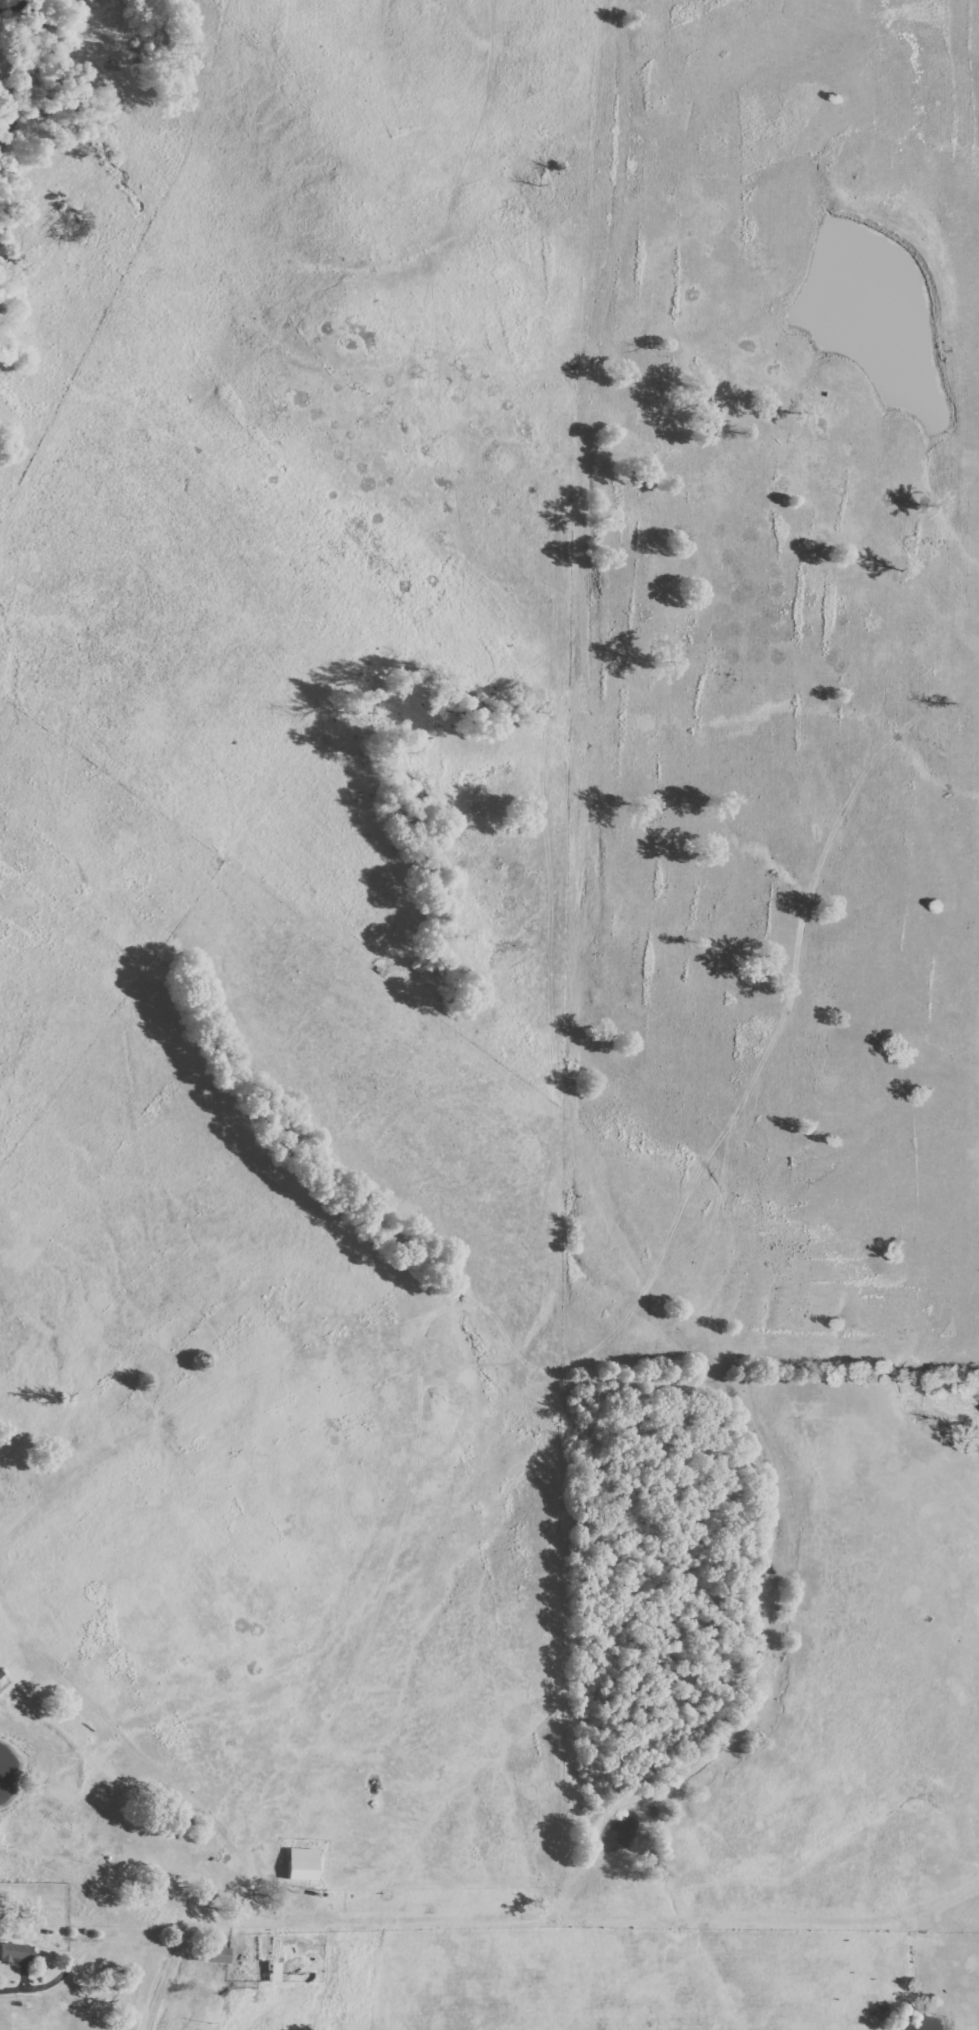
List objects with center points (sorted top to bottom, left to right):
building: (3, 1682)
building: (302, 1864)
building: (16, 1954)
building: (220, 1956)

